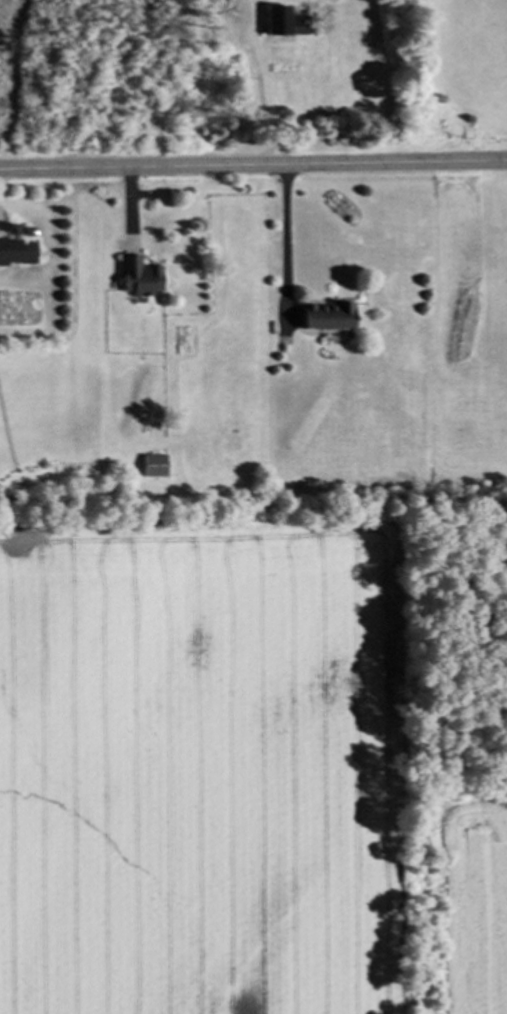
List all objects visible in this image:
building: (283, 23)
road: (262, 84)
road: (253, 169)
road: (283, 238)
building: (17, 253)
building: (137, 279)
building: (325, 317)
building: (153, 465)

